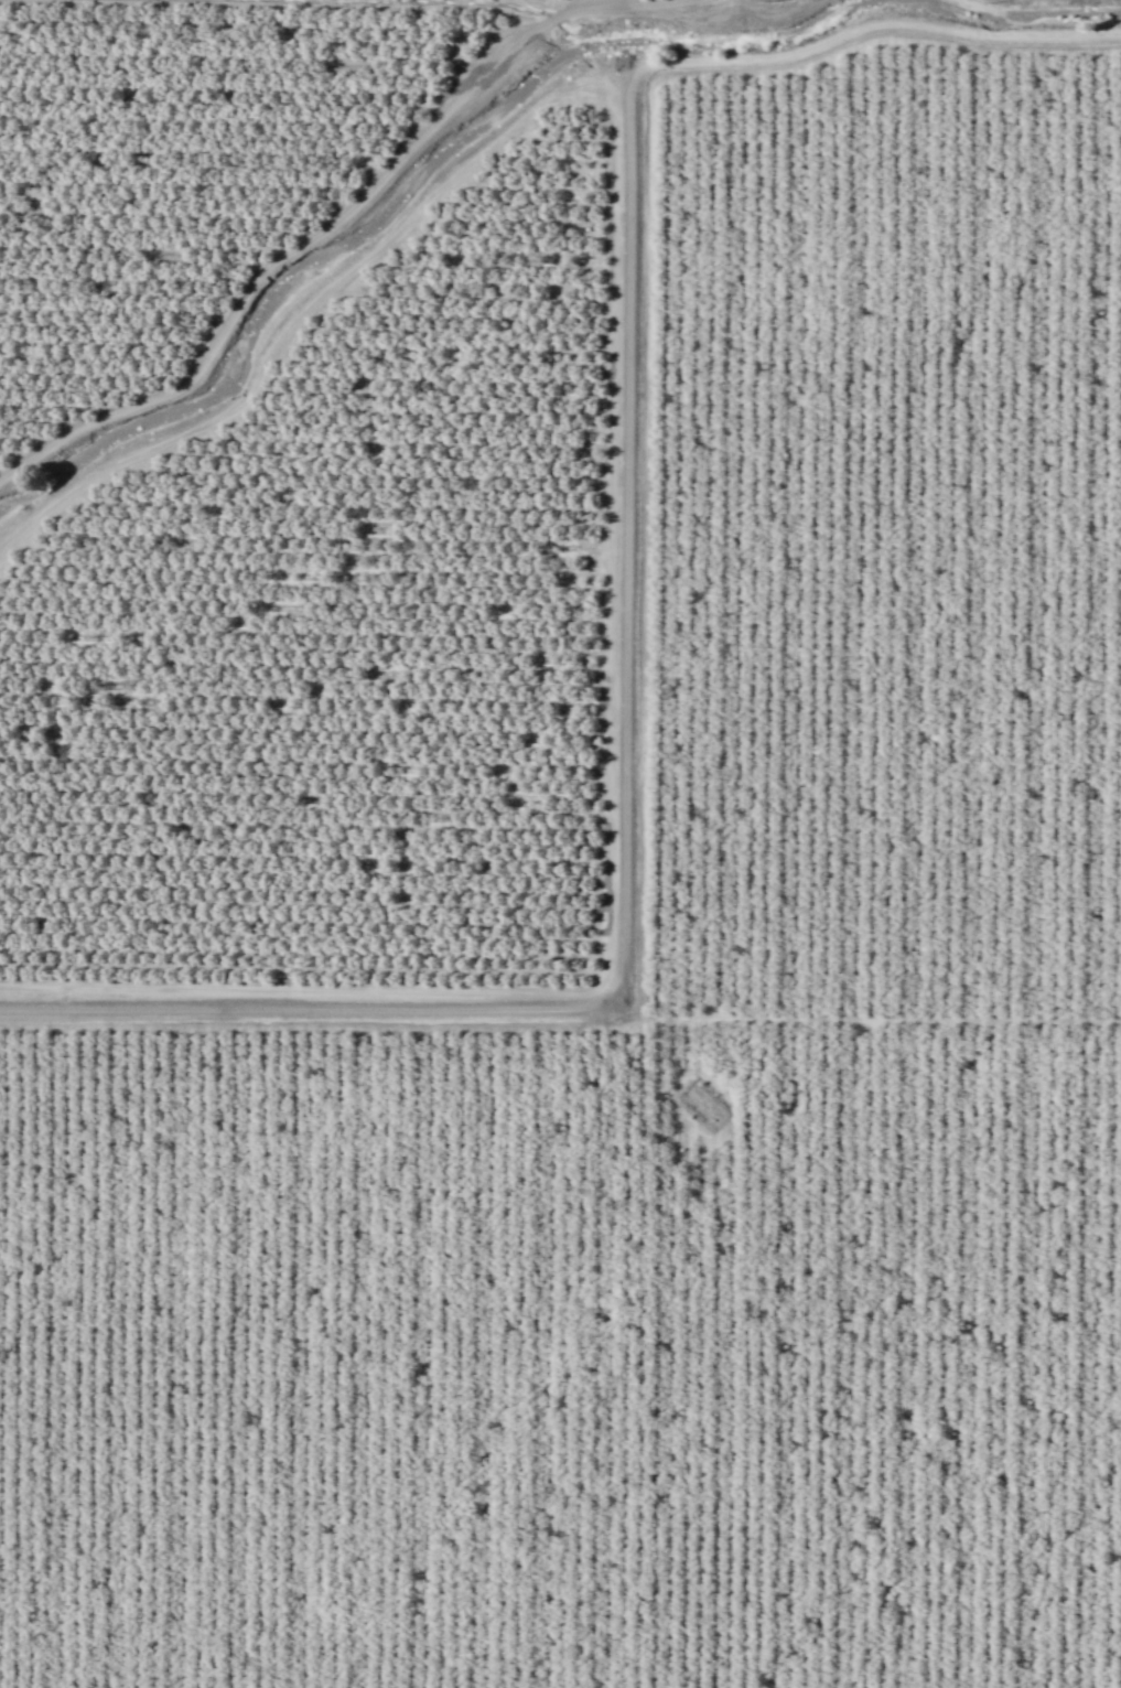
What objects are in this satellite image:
road: (396, 1)
road: (626, 2)
road: (568, 53)
road: (495, 138)
road: (331, 226)
road: (606, 832)
road: (623, 840)
road: (861, 1018)

